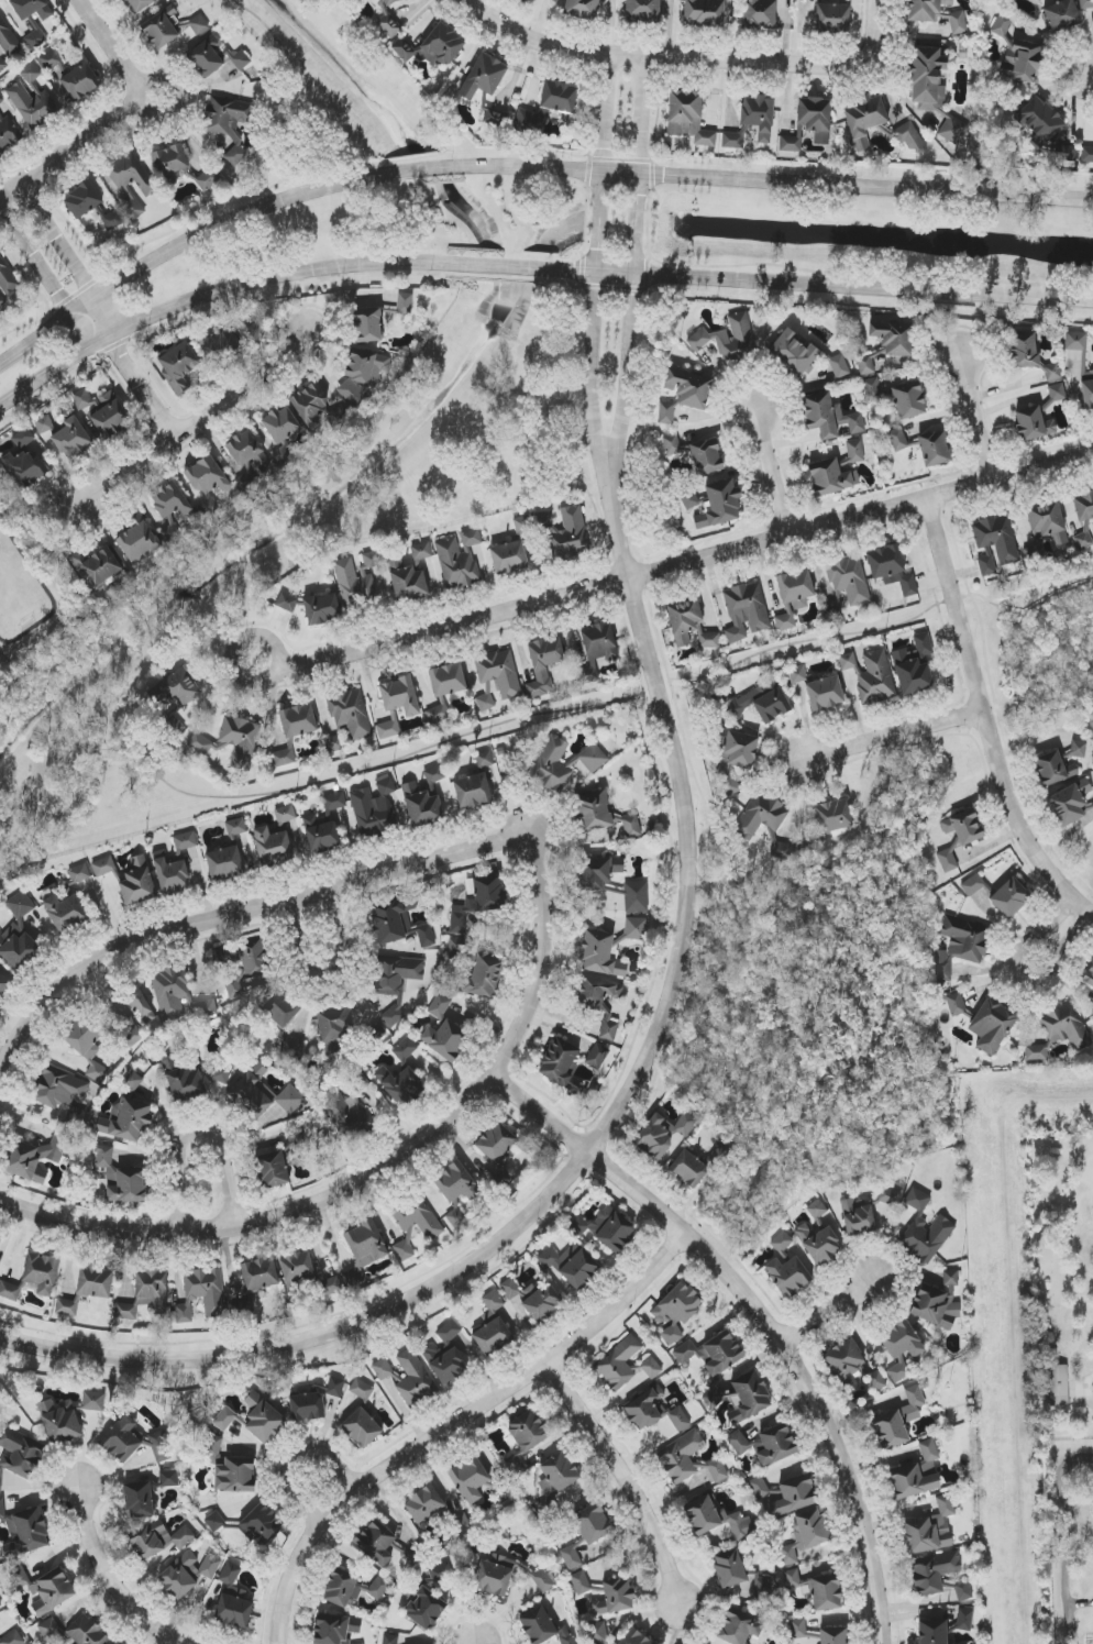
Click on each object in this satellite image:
building: (529, 0)
building: (389, 1)
building: (139, 4)
building: (1085, 4)
building: (32, 8)
building: (583, 8)
building: (643, 10)
building: (926, 10)
building: (705, 12)
building: (760, 14)
building: (1062, 15)
building: (832, 16)
building: (958, 23)
building: (199, 24)
building: (389, 25)
building: (35, 36)
road: (551, 43)
building: (7, 44)
road: (109, 45)
building: (433, 46)
building: (1017, 53)
building: (206, 57)
road: (785, 63)
building: (55, 65)
building: (31, 73)
building: (484, 77)
road: (1088, 79)
building: (80, 81)
building: (33, 104)
building: (548, 107)
road: (605, 112)
road: (644, 117)
building: (759, 117)
building: (688, 118)
building: (815, 119)
building: (864, 119)
building: (227, 122)
building: (1046, 129)
building: (953, 130)
building: (7, 132)
building: (909, 136)
building: (791, 144)
road: (71, 151)
building: (1086, 155)
building: (170, 162)
road: (418, 167)
building: (132, 175)
building: (208, 179)
road: (771, 181)
building: (82, 200)
building: (123, 214)
road: (229, 222)
road: (64, 243)
road: (38, 260)
road: (500, 268)
road: (275, 279)
building: (5, 282)
road: (821, 289)
building: (405, 304)
building: (368, 326)
building: (250, 329)
road: (43, 335)
building: (894, 336)
road: (593, 338)
road: (630, 339)
building: (730, 340)
building: (1075, 341)
building: (219, 346)
building: (794, 354)
building: (178, 365)
building: (865, 365)
building: (839, 366)
road: (53, 372)
road: (133, 374)
building: (362, 376)
building: (1086, 382)
building: (689, 388)
building: (1057, 393)
building: (82, 399)
building: (908, 400)
building: (317, 407)
building: (666, 412)
building: (109, 415)
building: (829, 417)
road: (978, 419)
building: (63, 421)
building: (44, 423)
road: (202, 424)
building: (281, 424)
building: (1034, 424)
building: (23, 438)
building: (73, 439)
building: (897, 440)
building: (672, 444)
building: (244, 448)
building: (934, 449)
building: (706, 455)
building: (26, 467)
building: (837, 472)
road: (771, 473)
building: (208, 482)
road: (1006, 493)
building: (689, 499)
building: (170, 500)
building: (720, 505)
building: (1083, 506)
building: (1048, 522)
building: (137, 538)
building: (996, 538)
building: (575, 539)
building: (1083, 539)
building: (516, 552)
building: (462, 562)
road: (686, 562)
building: (97, 565)
building: (985, 565)
building: (892, 569)
building: (413, 577)
building: (849, 578)
building: (362, 585)
building: (794, 596)
building: (316, 607)
building: (833, 607)
building: (746, 611)
building: (689, 621)
road: (886, 628)
road: (265, 637)
building: (604, 643)
building: (924, 644)
building: (546, 667)
building: (798, 674)
building: (912, 674)
building: (872, 676)
building: (499, 678)
building: (181, 691)
building: (448, 691)
building: (825, 693)
road: (996, 702)
building: (762, 703)
building: (400, 706)
road: (1045, 713)
building: (350, 719)
road: (984, 720)
building: (297, 732)
road: (892, 735)
building: (233, 743)
road: (1033, 749)
building: (1079, 749)
building: (735, 757)
building: (593, 758)
building: (485, 759)
building: (552, 765)
building: (1051, 768)
building: (434, 774)
road: (340, 777)
road: (1008, 780)
building: (473, 791)
building: (334, 802)
building: (1071, 803)
building: (1092, 804)
building: (422, 807)
building: (374, 809)
building: (593, 812)
building: (285, 815)
building: (631, 826)
building: (236, 827)
building: (765, 827)
building: (962, 829)
building: (321, 835)
road: (1064, 836)
building: (185, 841)
building: (273, 847)
road: (872, 851)
building: (947, 860)
building: (225, 862)
building: (104, 867)
building: (597, 872)
road: (671, 872)
building: (79, 873)
road: (1078, 874)
building: (172, 875)
road: (704, 875)
building: (137, 882)
building: (973, 885)
building: (636, 896)
building: (1011, 898)
building: (478, 901)
building: (21, 905)
road: (239, 912)
building: (65, 913)
building: (399, 924)
building: (636, 927)
building: (16, 946)
building: (960, 946)
building: (456, 948)
building: (600, 955)
building: (254, 960)
road: (329, 975)
building: (1089, 977)
road: (1022, 978)
building: (483, 980)
building: (396, 981)
building: (2, 985)
building: (170, 993)
building: (596, 993)
building: (132, 1003)
building: (439, 1006)
building: (279, 1007)
building: (207, 1009)
building: (992, 1025)
building: (1064, 1026)
building: (334, 1027)
building: (609, 1028)
building: (376, 1033)
building: (129, 1034)
building: (445, 1039)
building: (405, 1049)
building: (290, 1050)
building: (1036, 1052)
building: (598, 1056)
building: (559, 1062)
building: (184, 1080)
building: (133, 1081)
building: (401, 1085)
building: (63, 1094)
building: (262, 1096)
road: (522, 1096)
building: (349, 1106)
building: (126, 1121)
road: (198, 1129)
building: (663, 1134)
road: (596, 1140)
building: (498, 1154)
building: (30, 1160)
road: (382, 1168)
building: (689, 1169)
building: (272, 1170)
building: (121, 1178)
building: (456, 1183)
building: (890, 1196)
building: (455, 1217)
building: (858, 1218)
building: (416, 1225)
building: (607, 1228)
building: (925, 1229)
building: (818, 1235)
building: (0, 1240)
building: (364, 1250)
building: (571, 1265)
building: (297, 1268)
building: (787, 1268)
building: (42, 1272)
building: (260, 1275)
building: (93, 1281)
building: (10, 1291)
building: (146, 1294)
building: (201, 1294)
building: (534, 1299)
building: (938, 1302)
building: (68, 1306)
building: (242, 1310)
building: (676, 1311)
road: (830, 1311)
building: (449, 1332)
building: (493, 1336)
building: (901, 1339)
road: (785, 1342)
building: (711, 1353)
building: (618, 1362)
building: (844, 1362)
building: (445, 1364)
building: (651, 1368)
building: (901, 1370)
building: (408, 1377)
building: (876, 1381)
building: (1059, 1386)
building: (335, 1387)
building: (362, 1389)
building: (748, 1397)
building: (714, 1398)
building: (92, 1401)
building: (307, 1408)
building: (653, 1411)
building: (224, 1419)
building: (263, 1419)
building: (899, 1420)
building: (60, 1421)
building: (362, 1427)
road: (463, 1427)
building: (525, 1438)
building: (766, 1444)
building: (211, 1448)
building: (19, 1454)
building: (688, 1460)
building: (916, 1475)
building: (235, 1476)
building: (557, 1476)
building: (168, 1478)
building: (470, 1479)
road: (627, 1482)
road: (321, 1485)
building: (759, 1488)
building: (795, 1496)
building: (139, 1500)
building: (424, 1503)
building: (715, 1520)
building: (214, 1522)
building: (589, 1524)
building: (262, 1525)
building: (930, 1529)
building: (24, 1532)
building: (806, 1535)
road: (1072, 1538)
building: (161, 1542)
building: (376, 1542)
building: (571, 1557)
building: (210, 1566)
building: (729, 1569)
building: (440, 1573)
building: (934, 1573)
road: (109, 1574)
building: (508, 1576)
building: (179, 1577)
building: (792, 1579)
building: (581, 1582)
building: (45, 1589)
building: (352, 1589)
building: (963, 1590)
building: (826, 1592)
building: (615, 1597)
building: (233, 1600)
building: (0, 1606)
building: (426, 1609)
building: (964, 1620)
building: (542, 1626)
building: (49, 1628)
building: (739, 1628)
building: (335, 1629)
building: (798, 1629)
building: (85, 1632)
building: (934, 1632)
building: (596, 1633)
building: (832, 1635)
building: (13, 1639)
building: (634, 1639)
building: (390, 1640)

